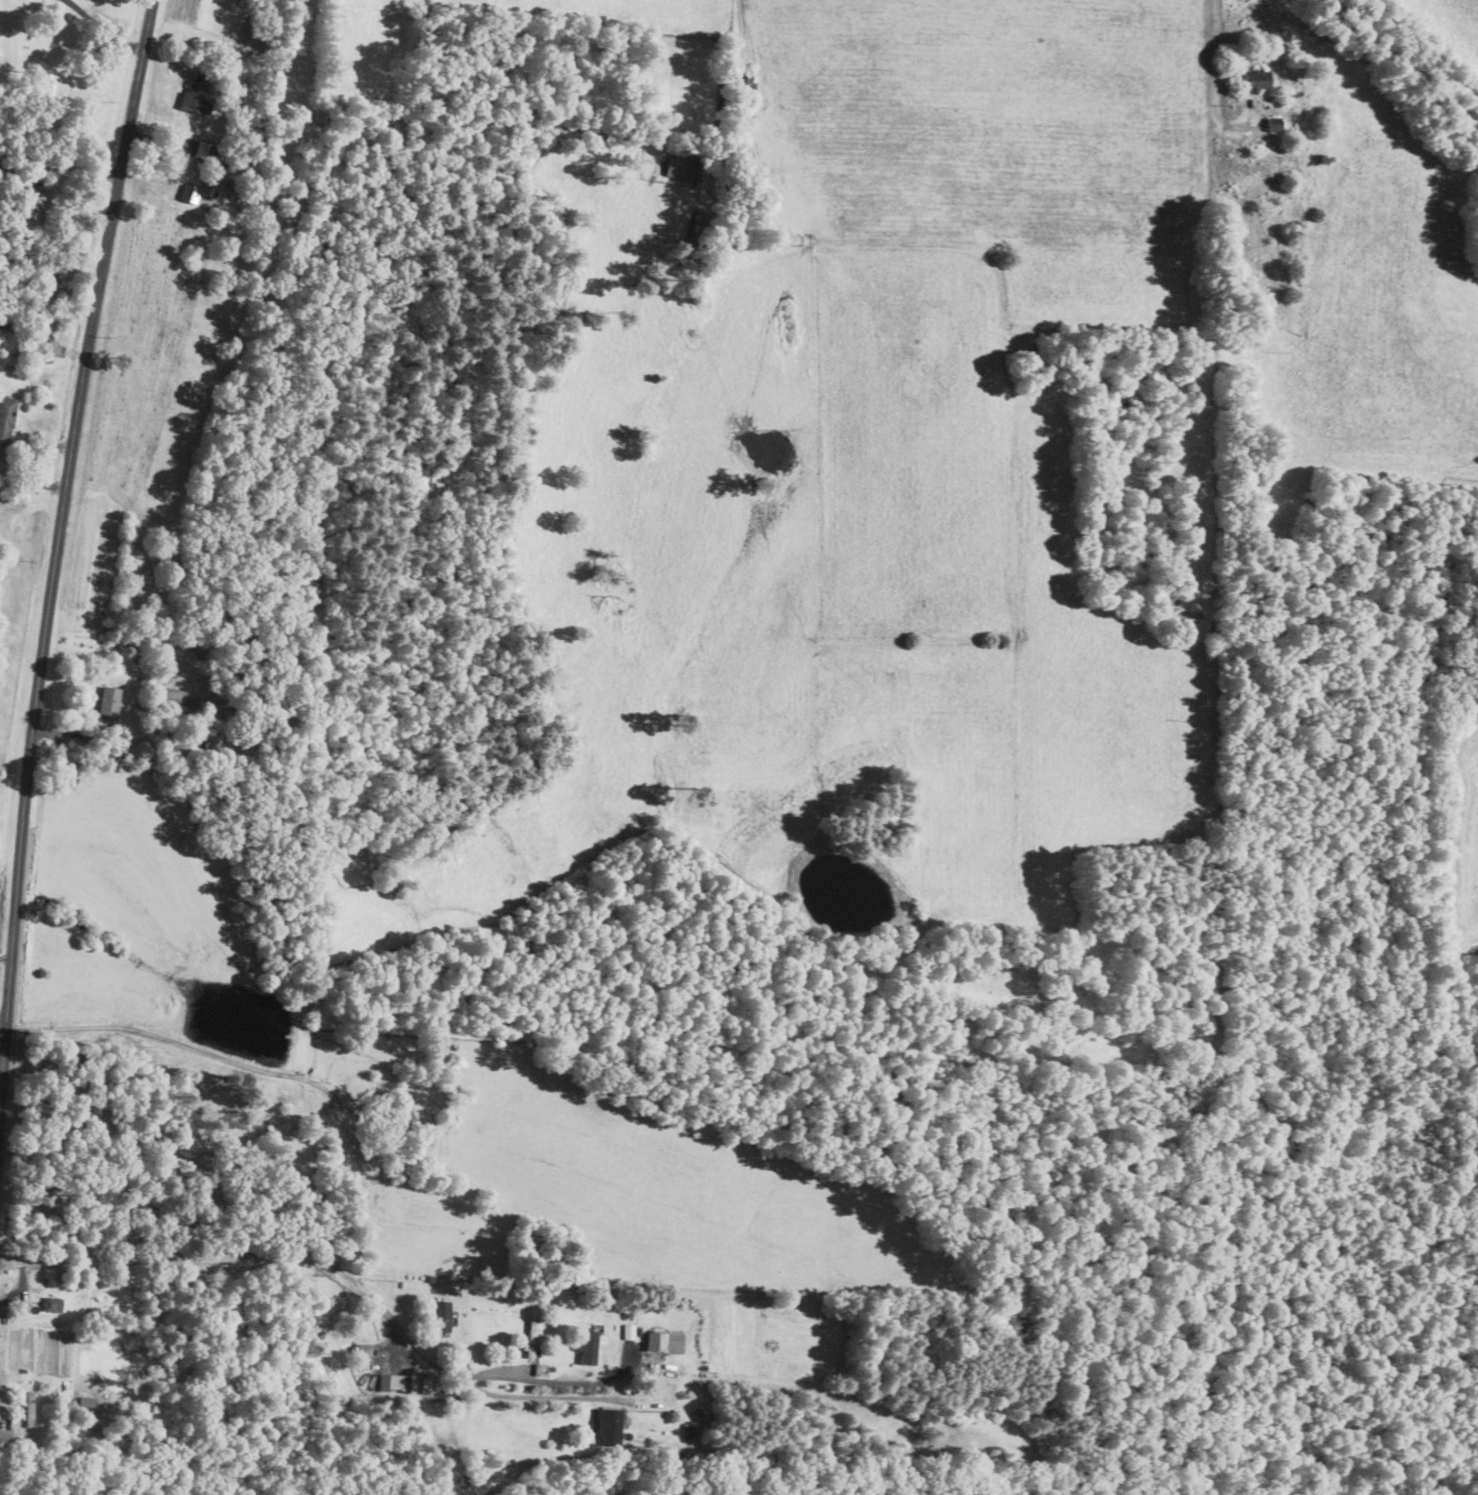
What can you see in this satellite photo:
road: (740, 19)
road: (101, 32)
road: (1221, 59)
building: (1258, 80)
building: (197, 92)
building: (1275, 124)
building: (201, 150)
building: (681, 169)
building: (6, 417)
road: (57, 548)
building: (110, 700)
road: (5, 958)
road: (2, 1034)
road: (338, 1275)
building: (53, 1304)
building: (444, 1315)
building: (629, 1331)
building: (656, 1341)
building: (589, 1348)
road: (394, 1349)
building: (365, 1350)
road: (552, 1381)
building: (390, 1382)
building: (609, 1426)
building: (88, 1430)
road: (37, 1437)

